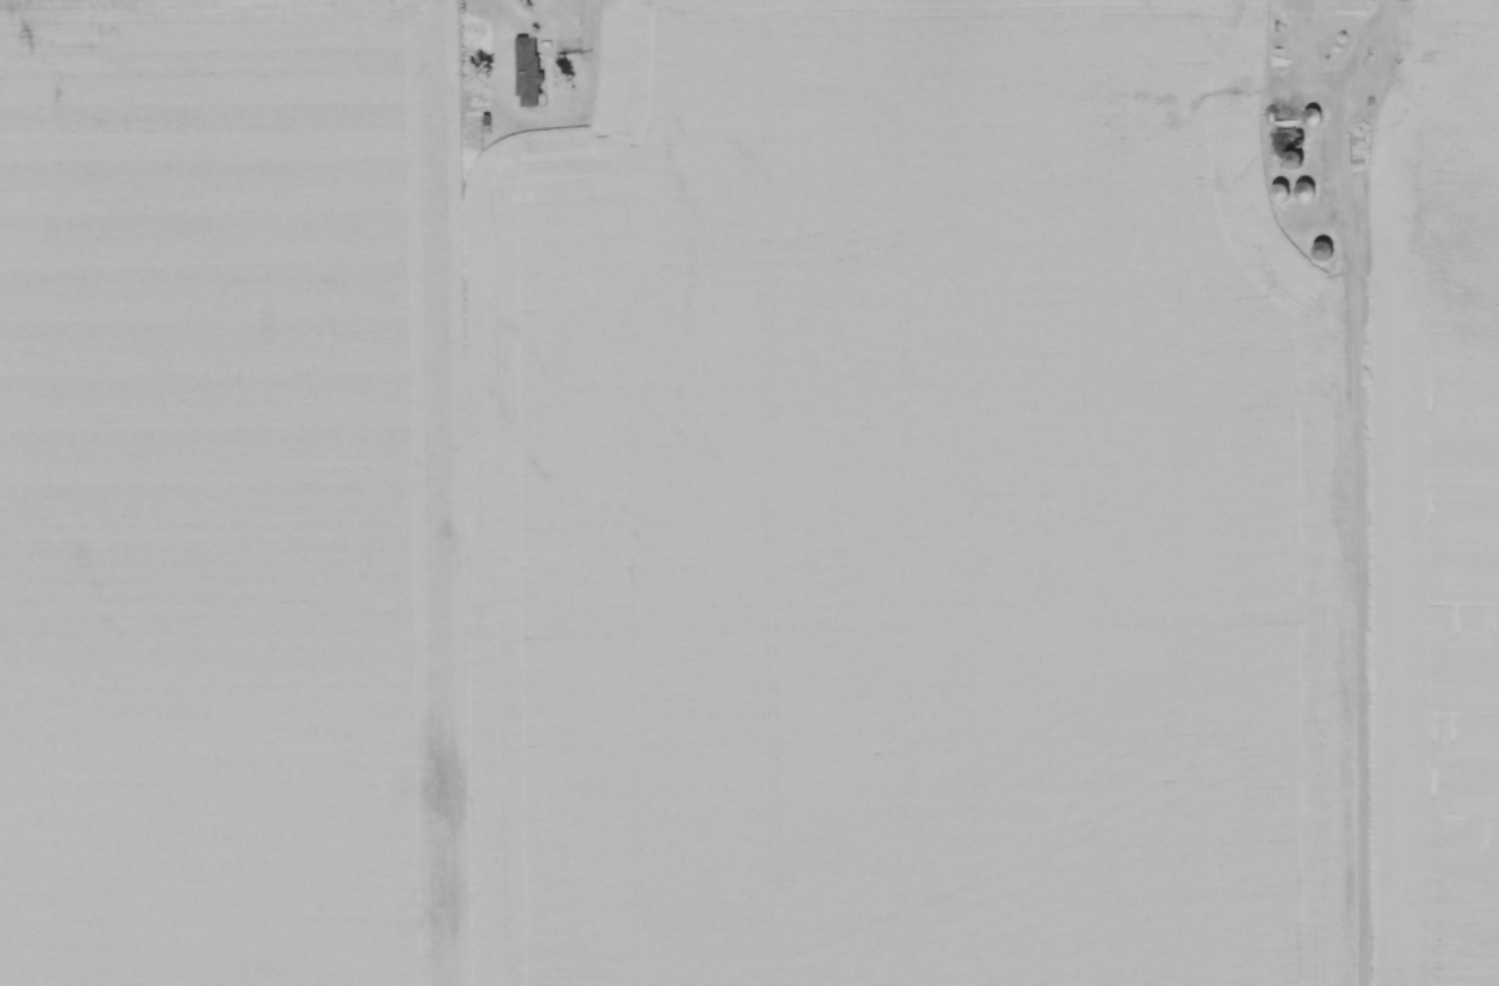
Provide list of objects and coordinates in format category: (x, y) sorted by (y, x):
road: (1338, 104)

